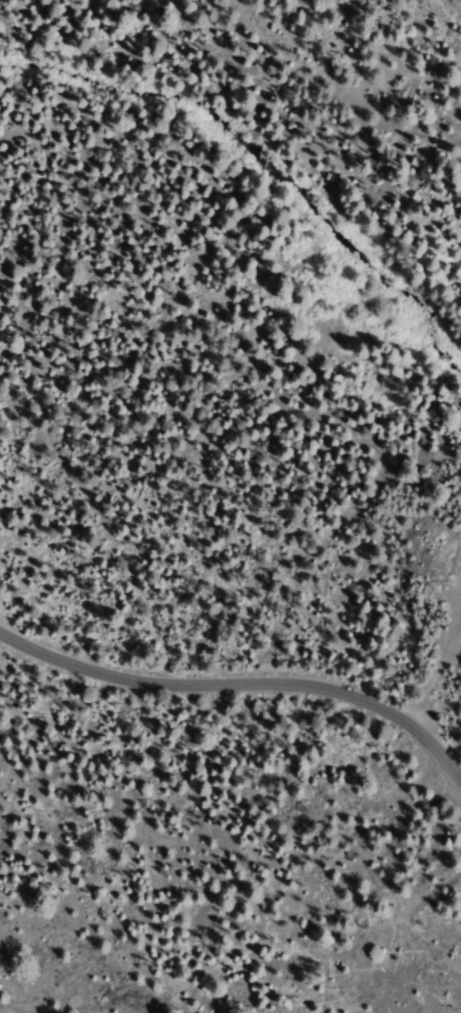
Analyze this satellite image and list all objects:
road: (432, 674)
road: (239, 680)

